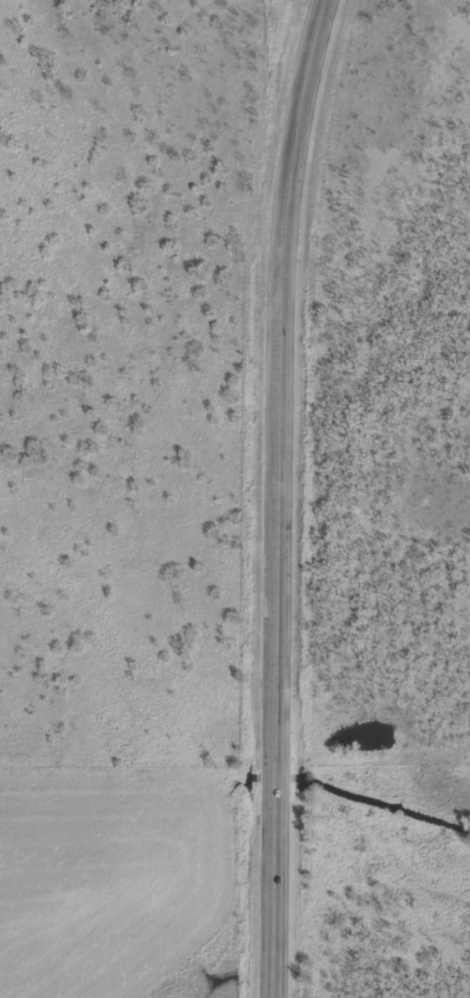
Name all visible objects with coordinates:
road: (285, 496)

